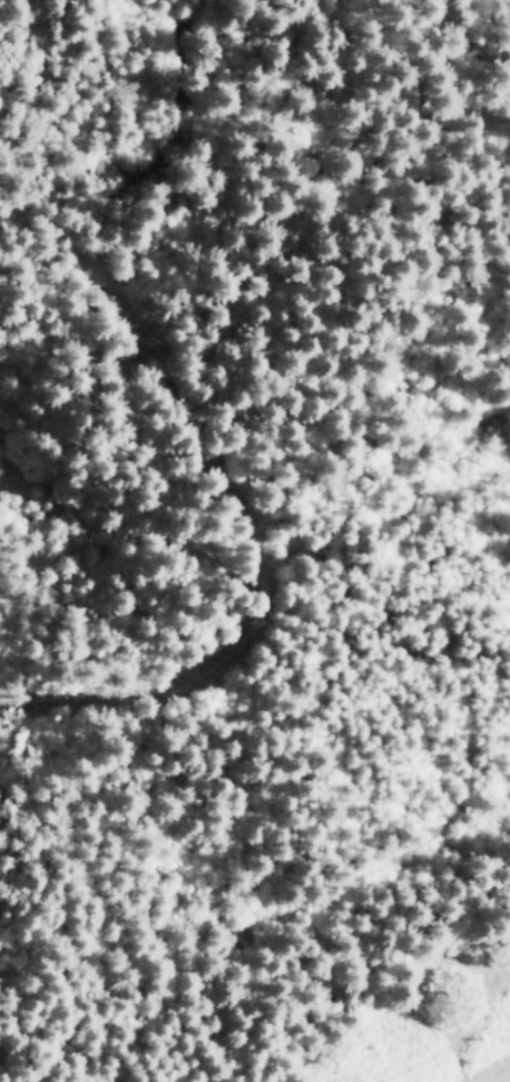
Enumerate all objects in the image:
crop: (255, 540)

